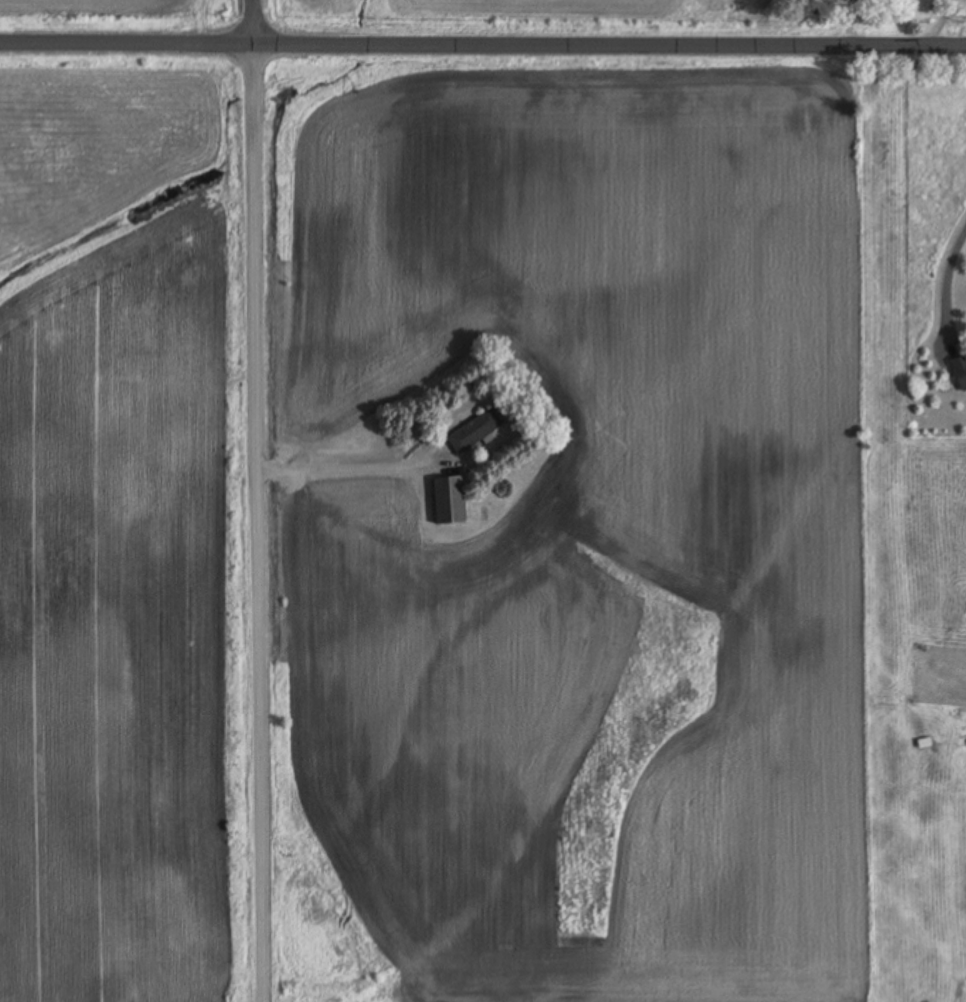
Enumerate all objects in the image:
crop: (121, 16)
road: (483, 43)
road: (953, 281)
building: (960, 370)
building: (475, 431)
building: (450, 499)
road: (258, 500)
crop: (566, 529)
crop: (125, 530)

